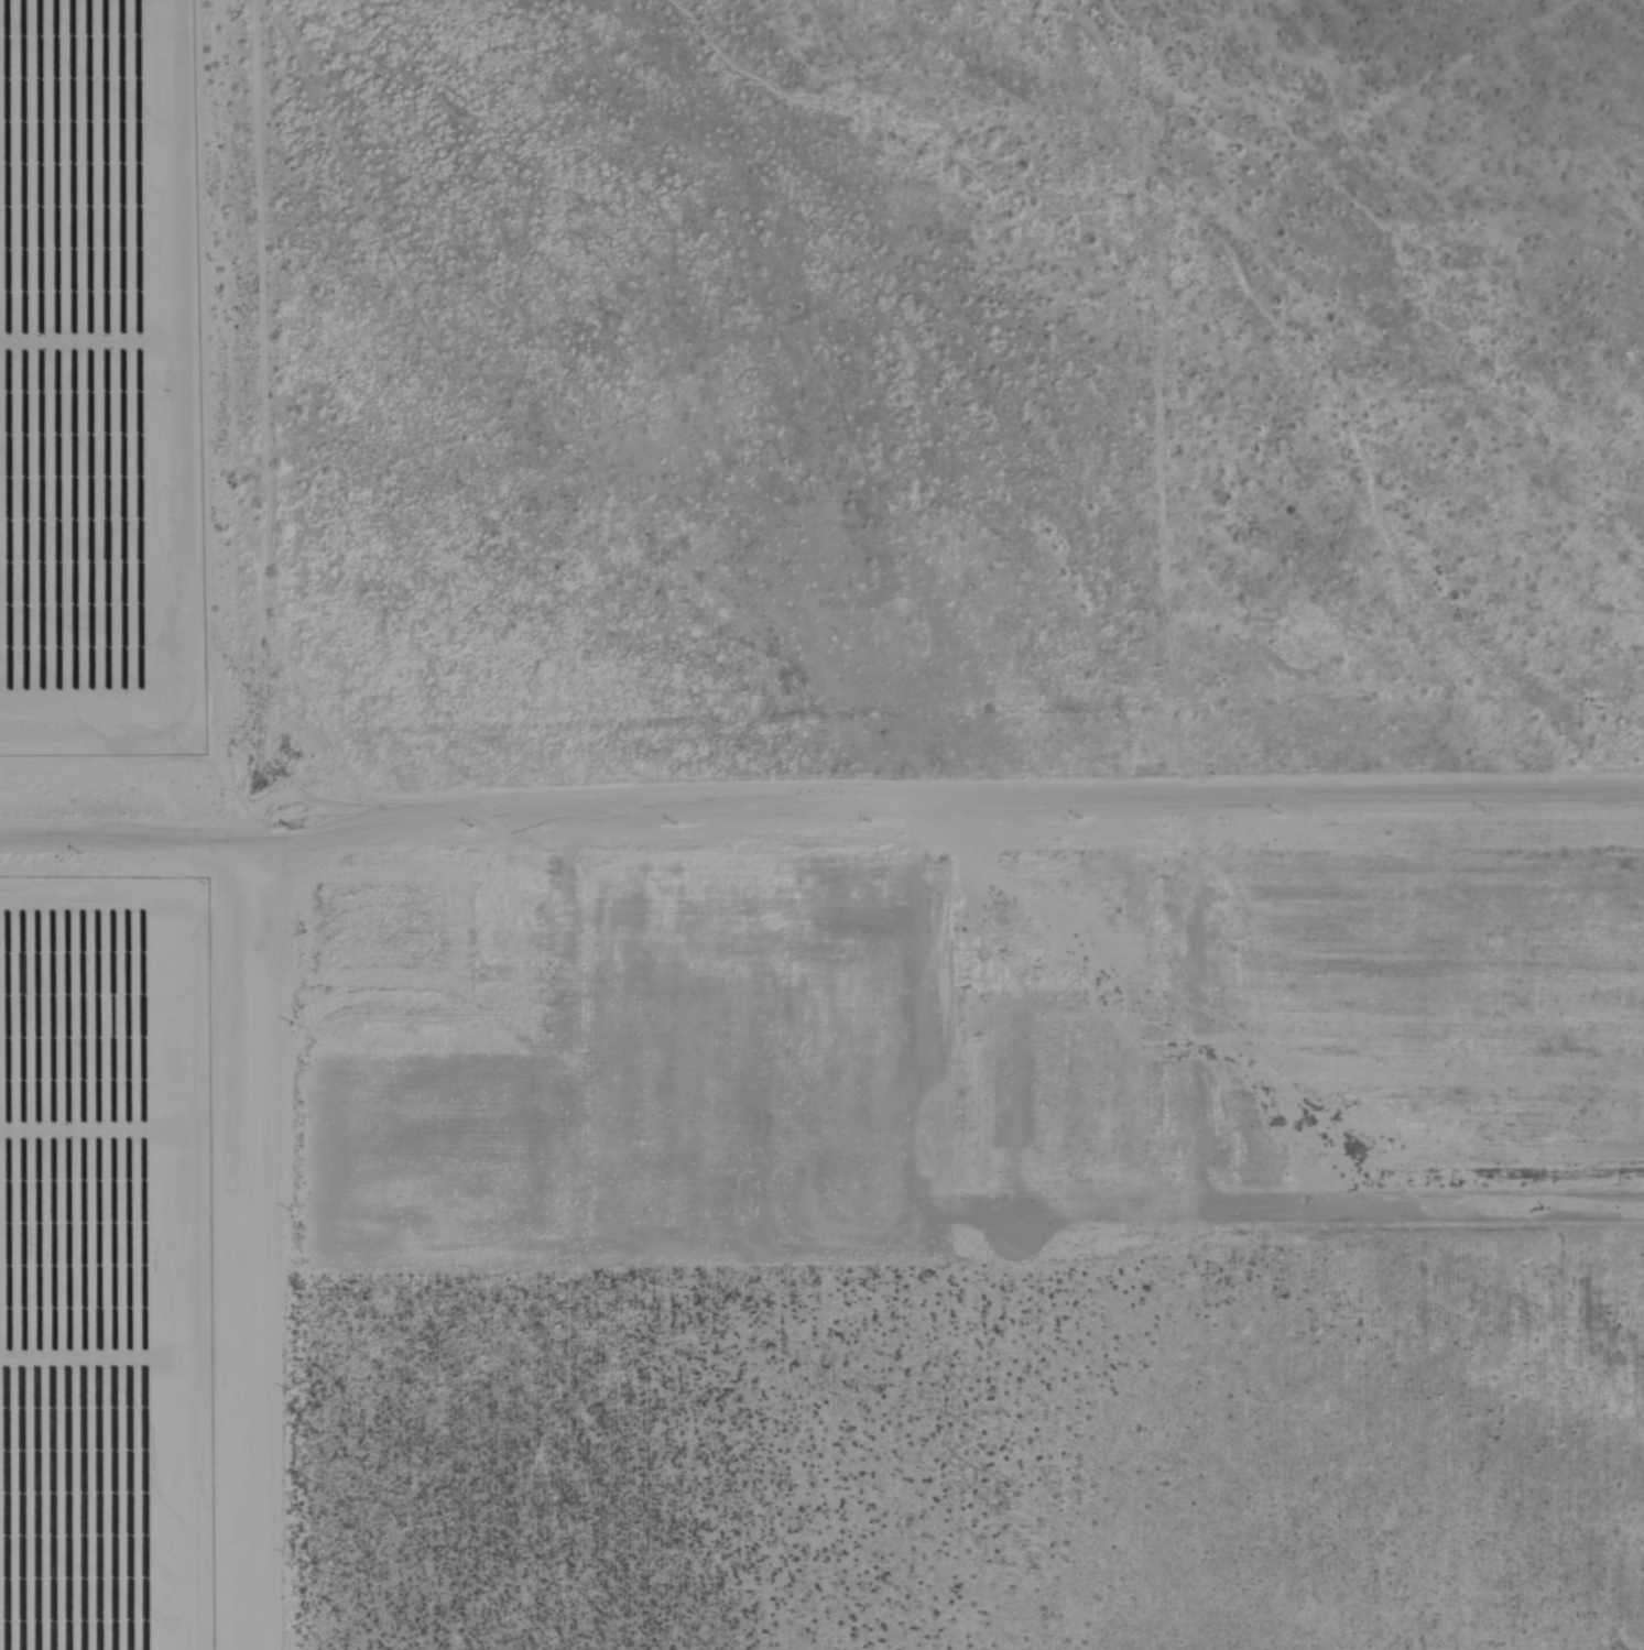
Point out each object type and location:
solar farm: (101, 381)
road: (264, 391)
road: (1165, 404)
road: (943, 809)
road: (122, 840)
road: (262, 1215)
solar farm: (108, 1260)

